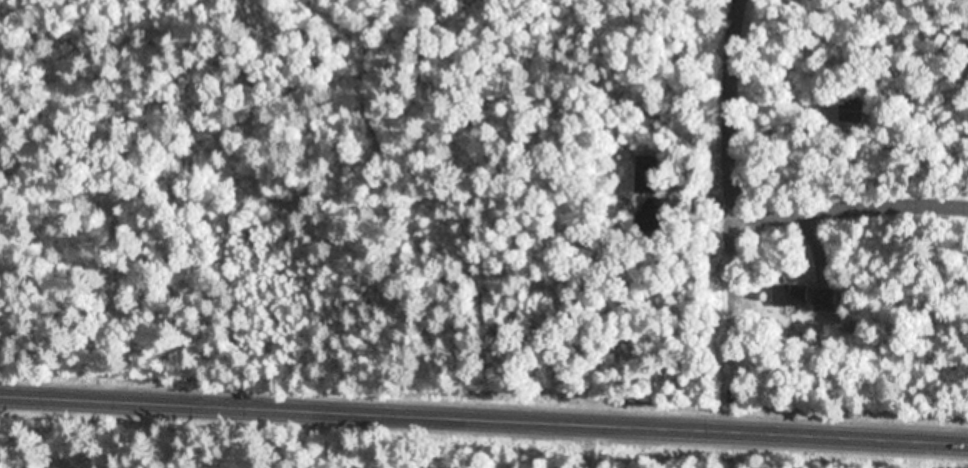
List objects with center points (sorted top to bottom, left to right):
building: (862, 74)
road: (733, 108)
building: (851, 110)
building: (646, 178)
building: (650, 210)
road: (850, 210)
building: (791, 294)
building: (824, 300)
road: (732, 325)
building: (788, 352)
road: (484, 417)

